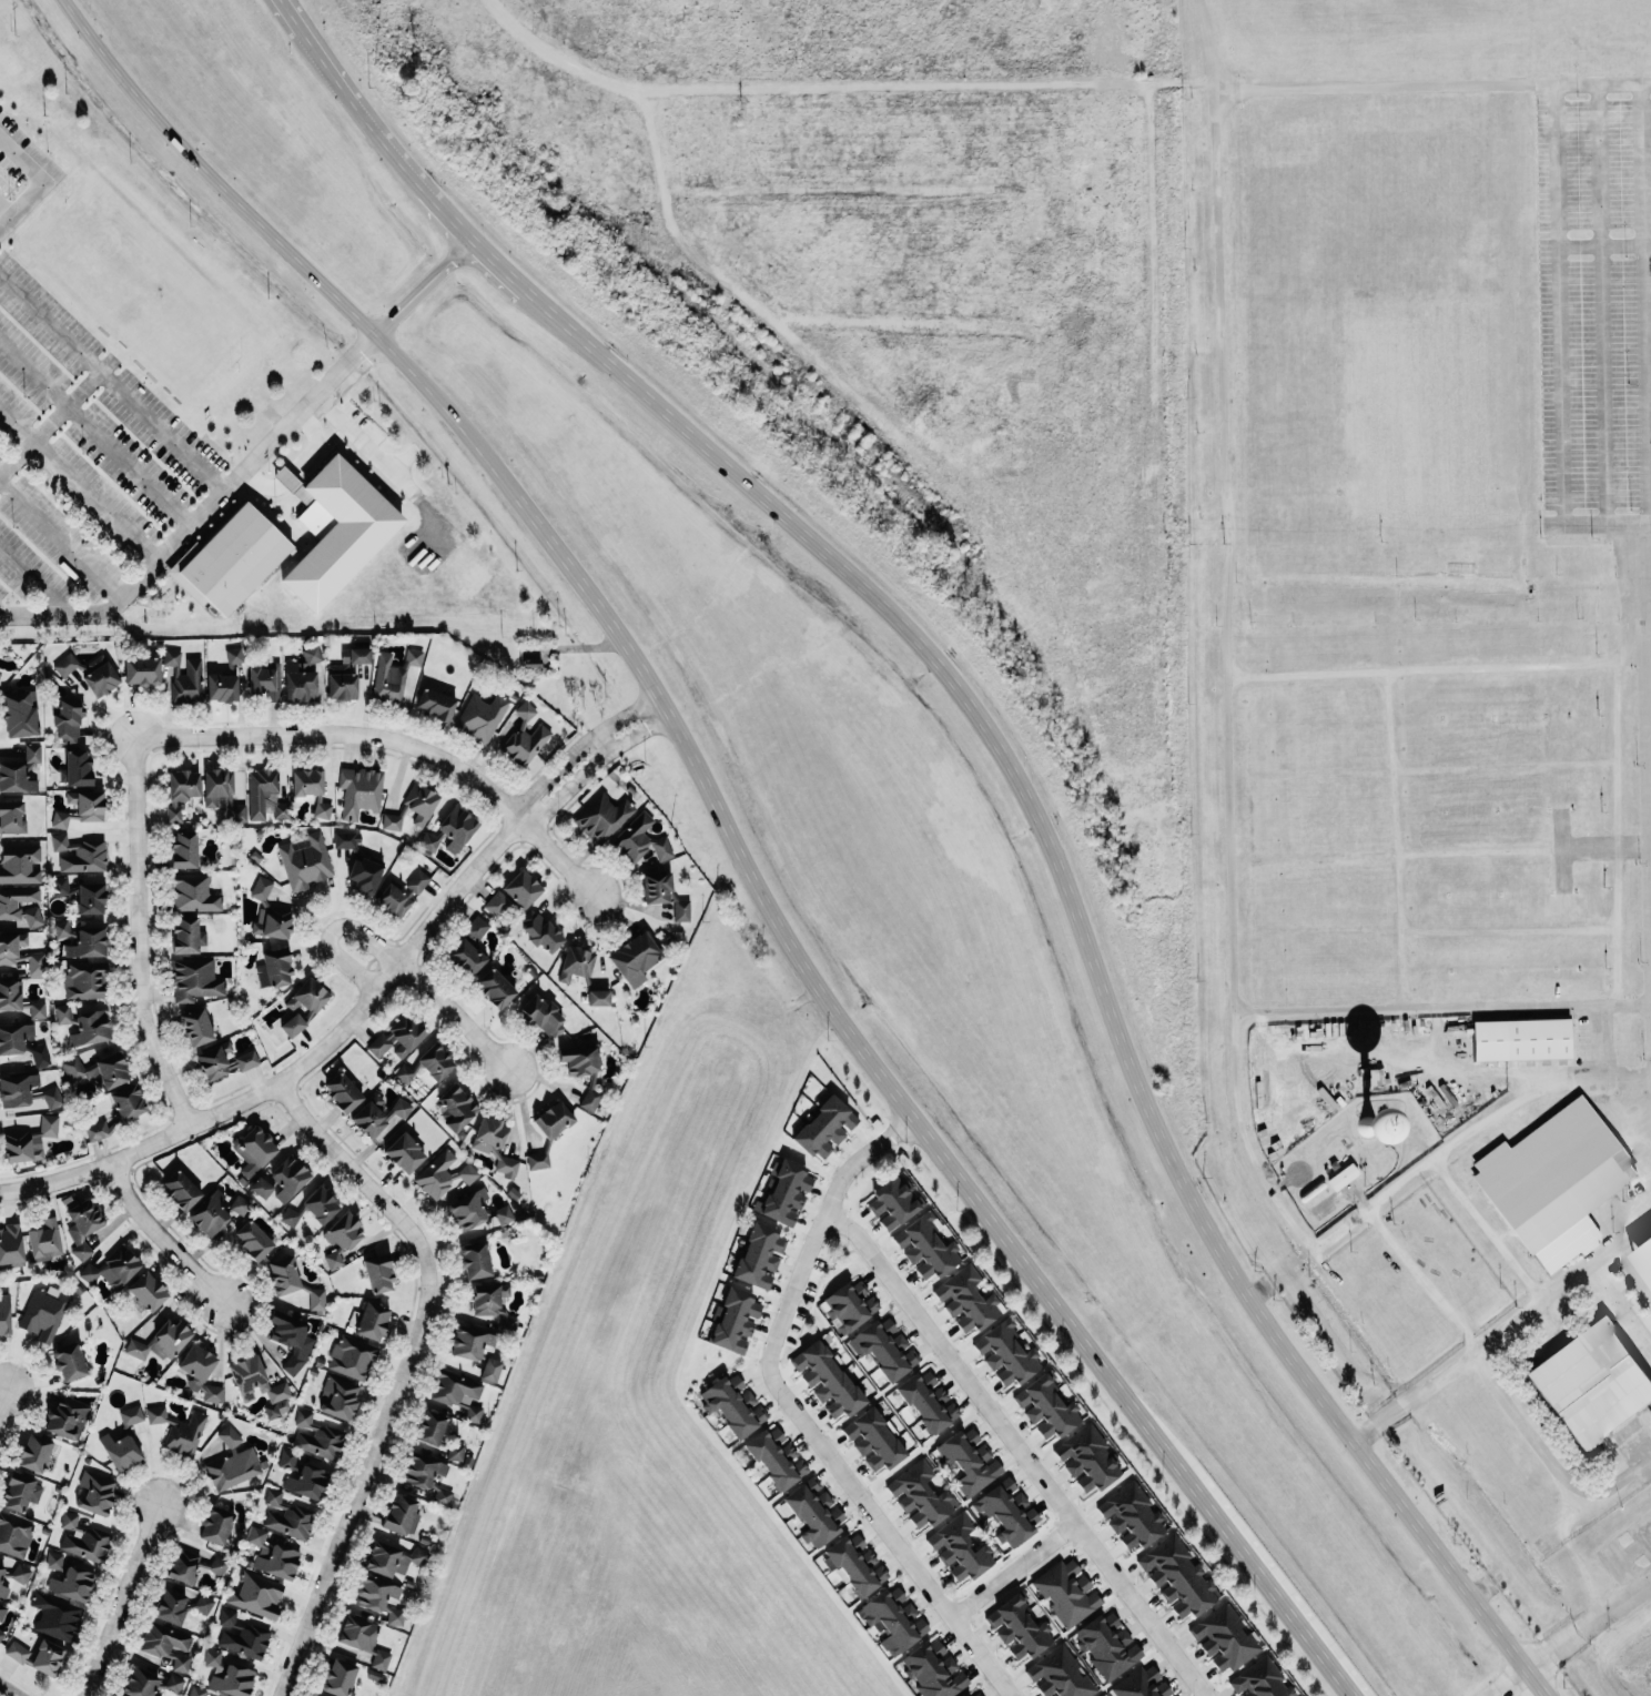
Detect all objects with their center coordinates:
road: (492, 12)
road: (295, 16)
road: (1209, 44)
road: (331, 67)
road: (848, 95)
road: (388, 147)
road: (38, 181)
road: (448, 214)
road: (1603, 245)
road: (493, 261)
road: (421, 285)
parking lot: (1597, 285)
road: (1642, 301)
road: (1603, 302)
road: (1559, 345)
road: (111, 380)
road: (50, 421)
road: (95, 430)
road: (364, 442)
parking lot: (81, 456)
road: (1228, 460)
road: (297, 466)
road: (78, 482)
road: (202, 508)
building: (335, 529)
road: (59, 538)
building: (230, 561)
road: (37, 581)
road: (1649, 590)
road: (3, 615)
road: (1650, 624)
building: (233, 655)
building: (533, 664)
building: (65, 665)
building: (0, 672)
building: (141, 672)
road: (1441, 672)
building: (346, 674)
building: (98, 676)
building: (302, 676)
building: (393, 676)
building: (185, 678)
building: (265, 680)
building: (222, 687)
building: (435, 704)
road: (666, 708)
building: (20, 714)
building: (480, 717)
building: (68, 719)
building: (525, 736)
road: (392, 739)
road: (583, 743)
road: (597, 746)
road: (596, 761)
road: (1503, 767)
building: (77, 768)
building: (20, 770)
building: (306, 781)
building: (183, 785)
building: (359, 791)
building: (222, 793)
building: (265, 796)
building: (413, 807)
building: (81, 808)
building: (322, 810)
building: (173, 814)
building: (602, 817)
building: (11, 818)
building: (456, 828)
road: (1618, 835)
building: (346, 840)
building: (639, 840)
building: (428, 842)
road: (1397, 842)
building: (183, 849)
road: (1525, 851)
building: (78, 854)
building: (305, 862)
building: (19, 865)
building: (364, 875)
building: (62, 887)
building: (261, 888)
building: (521, 889)
building: (193, 894)
building: (402, 895)
building: (664, 895)
building: (91, 898)
building: (496, 903)
building: (9, 905)
building: (273, 921)
road: (1085, 926)
building: (62, 928)
building: (476, 928)
road: (331, 931)
building: (541, 931)
road: (1508, 933)
road: (139, 935)
building: (188, 936)
building: (88, 942)
building: (12, 948)
building: (465, 957)
building: (635, 958)
building: (36, 965)
building: (576, 965)
building: (273, 968)
building: (85, 980)
building: (195, 980)
building: (494, 988)
building: (11, 996)
building: (598, 998)
building: (303, 1006)
building: (37, 1009)
road: (1446, 1009)
building: (62, 1014)
road: (453, 1016)
building: (543, 1017)
building: (196, 1027)
building: (91, 1028)
building: (13, 1038)
building: (397, 1038)
building: (1521, 1039)
road: (1598, 1043)
building: (40, 1056)
building: (223, 1061)
road: (305, 1061)
building: (427, 1064)
building: (99, 1071)
building: (583, 1071)
building: (17, 1090)
building: (342, 1092)
building: (52, 1097)
building: (128, 1102)
building: (456, 1107)
building: (401, 1108)
building: (371, 1114)
building: (553, 1119)
building: (49, 1125)
building: (824, 1128)
building: (1368, 1128)
building: (97, 1131)
road: (1467, 1132)
building: (494, 1144)
building: (22, 1147)
building: (254, 1150)
building: (404, 1153)
building: (537, 1161)
building: (443, 1175)
building: (1341, 1177)
building: (288, 1178)
building: (1553, 1182)
building: (261, 1187)
building: (180, 1190)
building: (784, 1192)
building: (892, 1202)
building: (240, 1204)
building: (321, 1204)
building: (476, 1211)
building: (210, 1213)
building: (290, 1217)
building: (82, 1224)
road: (820, 1225)
road: (1485, 1230)
road: (159, 1238)
building: (341, 1238)
building: (44, 1240)
building: (252, 1241)
building: (11, 1246)
building: (925, 1246)
building: (1643, 1253)
building: (759, 1255)
building: (475, 1260)
building: (119, 1266)
building: (89, 1273)
building: (377, 1274)
building: (283, 1275)
road: (1420, 1279)
road: (1561, 1283)
building: (148, 1291)
building: (487, 1299)
building: (316, 1300)
building: (966, 1300)
road: (1620, 1302)
building: (849, 1305)
building: (44, 1313)
building: (4, 1314)
building: (735, 1320)
building: (372, 1321)
building: (291, 1340)
building: (161, 1341)
building: (472, 1343)
building: (884, 1347)
building: (1005, 1354)
building: (352, 1357)
building: (69, 1361)
building: (196, 1365)
road: (398, 1370)
building: (490, 1370)
building: (827, 1380)
building: (1591, 1383)
building: (259, 1385)
building: (454, 1389)
road: (2, 1393)
building: (213, 1393)
building: (338, 1397)
road: (1414, 1397)
building: (928, 1401)
building: (733, 1404)
building: (1046, 1407)
building: (473, 1413)
building: (156, 1414)
building: (131, 1415)
building: (67, 1419)
building: (429, 1427)
building: (185, 1434)
building: (316, 1436)
building: (873, 1441)
building: (455, 1450)
building: (120, 1451)
road: (1016, 1451)
building: (34, 1453)
building: (776, 1457)
road: (1546, 1457)
building: (1086, 1458)
building: (970, 1461)
building: (233, 1462)
building: (422, 1470)
building: (303, 1476)
building: (21, 1492)
building: (94, 1493)
building: (920, 1495)
building: (814, 1511)
building: (1007, 1512)
building: (401, 1515)
building: (286, 1516)
building: (1131, 1516)
building: (69, 1520)
building: (215, 1524)
road: (887, 1533)
building: (13, 1535)
building: (87, 1544)
building: (959, 1549)
building: (272, 1555)
road: (1623, 1557)
building: (393, 1558)
building: (54, 1561)
building: (854, 1565)
building: (194, 1566)
road: (1011, 1572)
building: (20, 1573)
building: (6, 1577)
building: (1177, 1577)
building: (73, 1584)
road: (1269, 1587)
building: (1066, 1592)
building: (375, 1593)
building: (256, 1595)
road: (119, 1601)
building: (180, 1606)
building: (2, 1612)
building: (395, 1616)
building: (55, 1617)
building: (893, 1619)
road: (1590, 1625)
building: (1019, 1627)
building: (1, 1632)
building: (242, 1635)
building: (1223, 1638)
building: (363, 1639)
building: (164, 1641)
building: (1107, 1645)
building: (17, 1652)
building: (47, 1657)
building: (181, 1663)
building: (933, 1670)
building: (227, 1675)
building: (1060, 1675)
building: (338, 1677)
building: (1259, 1680)
building: (151, 1683)
road: (1513, 1683)
road: (1539, 1683)
building: (1143, 1684)
road: (8, 1689)
building: (196, 1690)
building: (976, 1694)
building: (320, 1695)
building: (964, 1695)
building: (1102, 1695)

